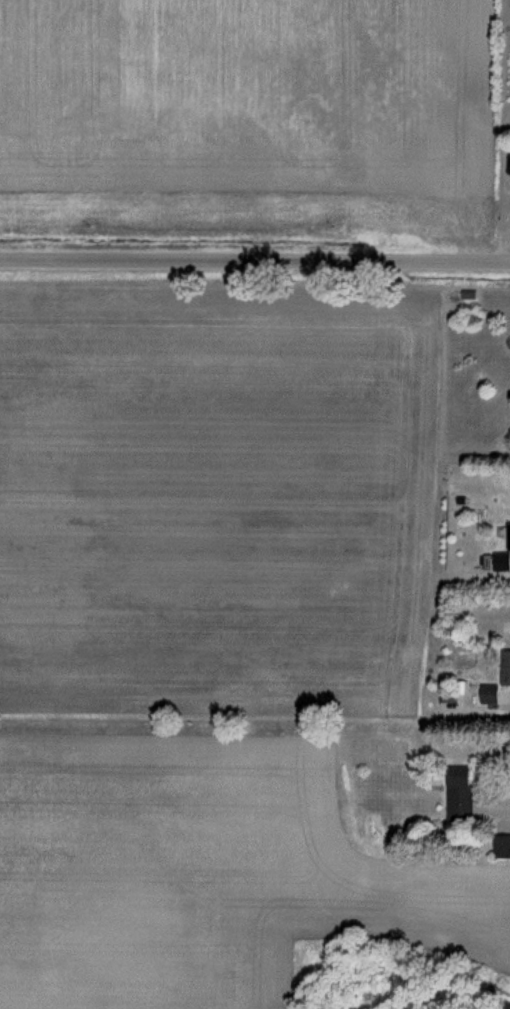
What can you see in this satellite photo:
road: (255, 263)
building: (509, 537)
building: (498, 563)
building: (507, 668)
building: (494, 694)
building: (467, 795)
road: (499, 811)
building: (505, 847)

